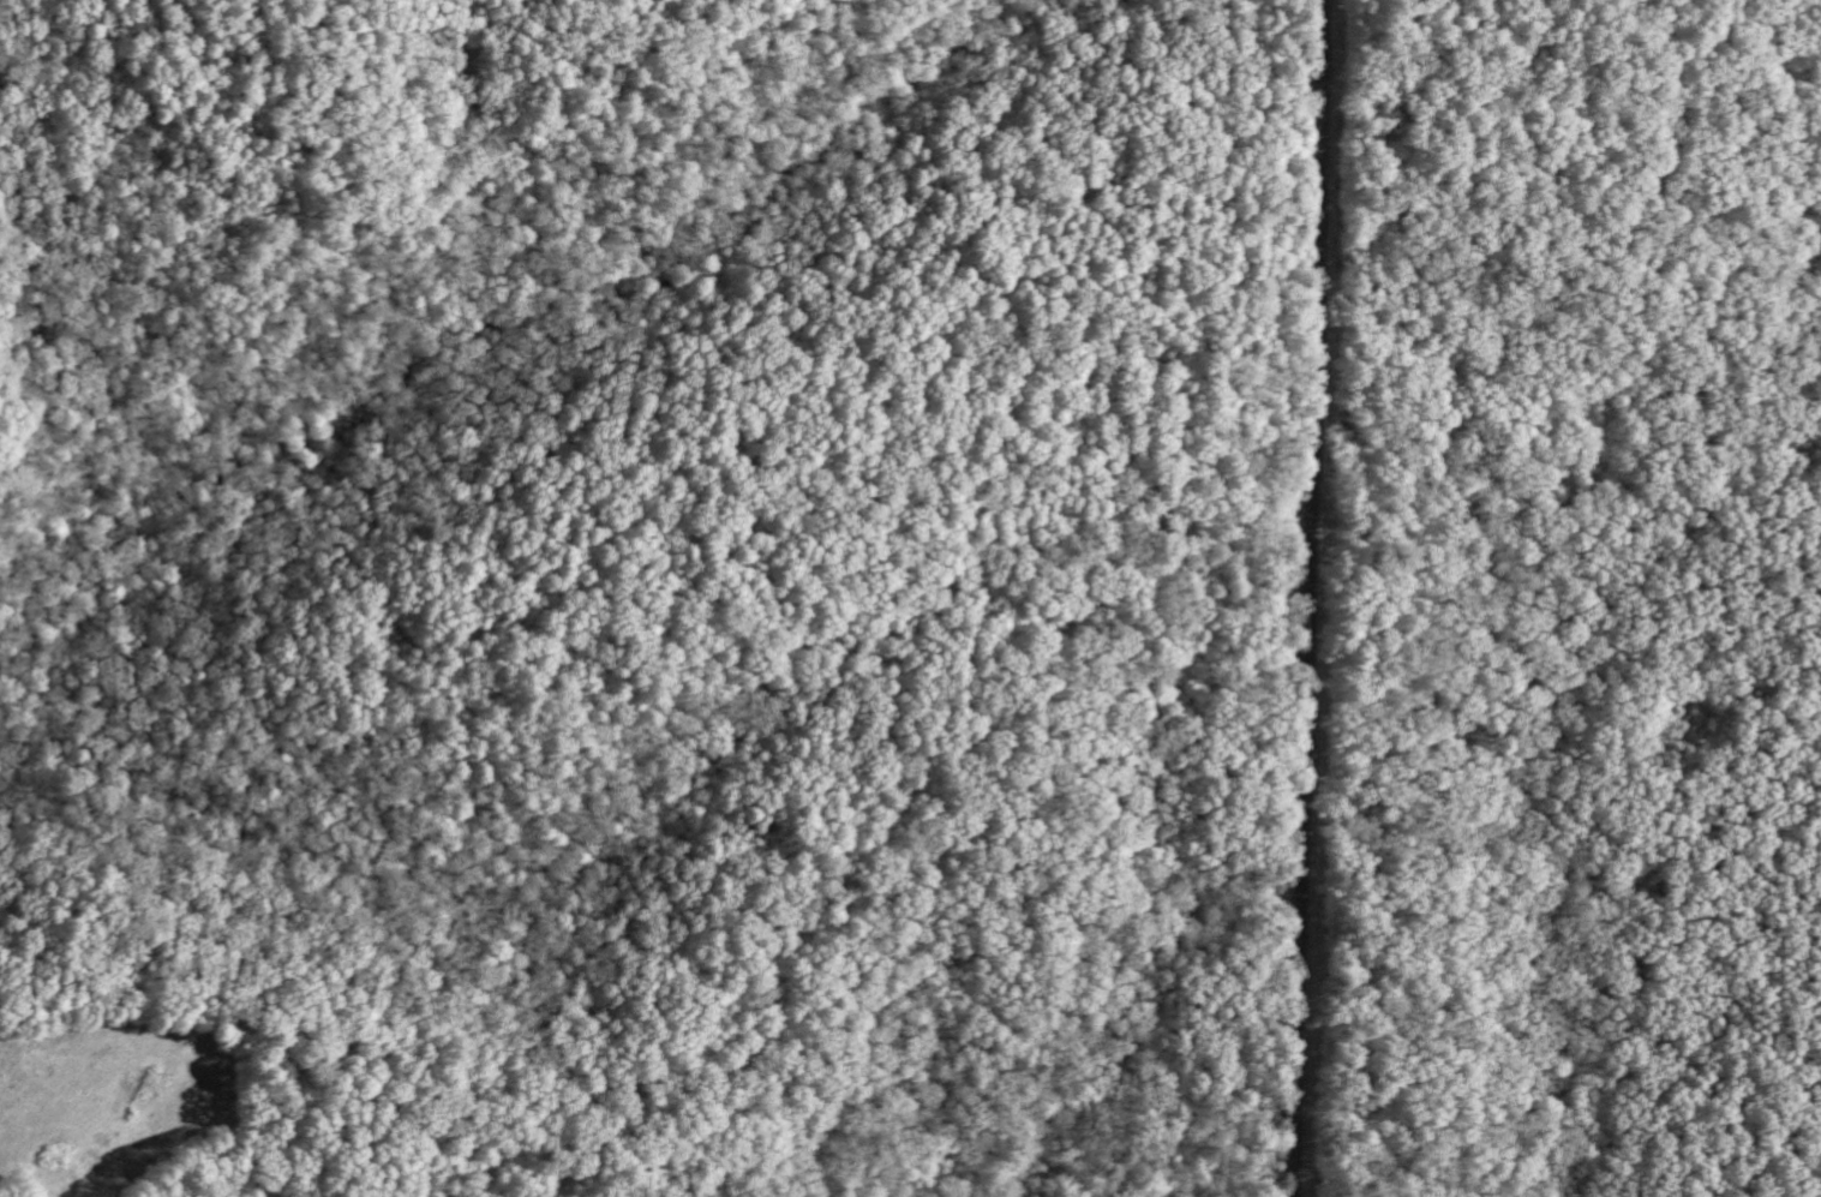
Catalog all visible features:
road: (1308, 598)

